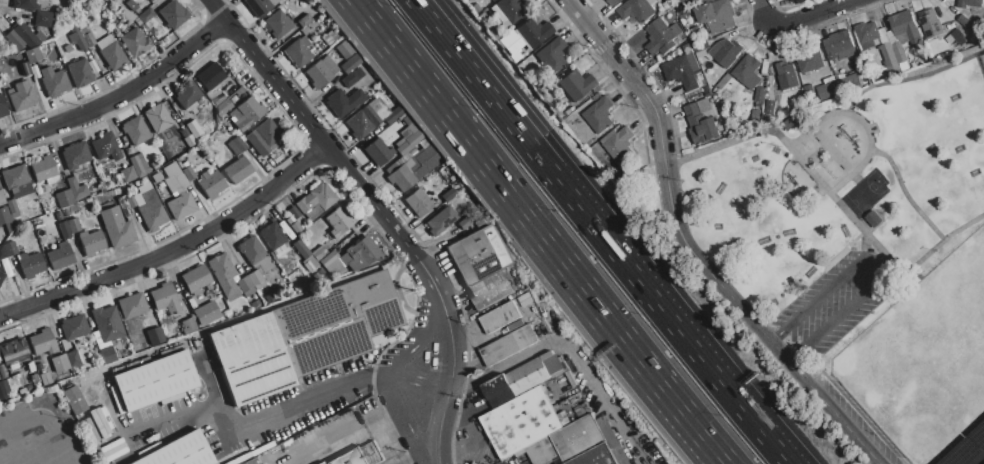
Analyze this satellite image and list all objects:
building: (149, 0)
building: (151, 0)
building: (697, 0)
building: (651, 1)
building: (272, 2)
building: (612, 2)
building: (968, 3)
building: (26, 4)
building: (129, 4)
building: (257, 6)
building: (143, 7)
building: (475, 9)
building: (636, 9)
building: (507, 11)
road: (766, 12)
road: (807, 12)
building: (685, 14)
building: (126, 15)
building: (173, 15)
building: (716, 15)
building: (146, 16)
building: (481, 16)
building: (43, 19)
building: (304, 21)
road: (588, 22)
building: (930, 23)
building: (966, 23)
building: (278, 25)
building: (695, 28)
building: (142, 29)
building: (675, 29)
building: (86, 33)
building: (532, 33)
building: (25, 35)
building: (659, 36)
building: (329, 37)
building: (904, 37)
building: (959, 37)
building: (14, 40)
building: (78, 40)
building: (135, 43)
building: (511, 44)
building: (700, 45)
building: (838, 45)
building: (686, 47)
building: (885, 48)
building: (343, 50)
building: (725, 51)
building: (299, 52)
building: (551, 55)
building: (33, 56)
building: (113, 56)
building: (692, 61)
building: (809, 61)
building: (350, 64)
building: (329, 66)
building: (24, 69)
building: (360, 71)
building: (680, 71)
building: (747, 71)
building: (34, 72)
building: (80, 74)
building: (786, 74)
building: (318, 75)
building: (210, 77)
building: (349, 79)
building: (54, 82)
building: (225, 82)
building: (849, 83)
building: (575, 85)
road: (505, 88)
building: (808, 88)
building: (827, 89)
road: (488, 93)
building: (759, 93)
building: (187, 96)
building: (215, 96)
building: (21, 97)
road: (120, 97)
building: (597, 97)
building: (343, 102)
building: (2, 107)
building: (222, 107)
building: (770, 107)
road: (823, 107)
building: (378, 109)
building: (248, 113)
building: (756, 113)
building: (181, 114)
building: (235, 114)
building: (598, 114)
building: (369, 116)
building: (157, 118)
building: (391, 118)
building: (405, 122)
building: (787, 123)
building: (700, 124)
building: (358, 125)
building: (230, 128)
building: (135, 130)
building: (194, 130)
building: (184, 133)
building: (267, 134)
building: (407, 139)
building: (190, 141)
building: (618, 142)
building: (257, 144)
building: (239, 145)
building: (105, 147)
building: (286, 151)
building: (378, 152)
building: (411, 152)
building: (75, 154)
building: (426, 159)
building: (139, 166)
building: (392, 168)
building: (413, 168)
building: (43, 169)
building: (238, 170)
building: (129, 174)
building: (162, 174)
building: (176, 174)
building: (189, 174)
building: (14, 177)
building: (156, 178)
building: (401, 178)
building: (172, 184)
building: (212, 184)
building: (144, 188)
building: (76, 189)
building: (21, 190)
building: (447, 195)
building: (64, 198)
building: (318, 198)
building: (2, 199)
building: (138, 200)
building: (131, 202)
building: (148, 202)
building: (418, 202)
building: (124, 206)
building: (11, 207)
building: (181, 207)
road: (380, 213)
building: (154, 218)
building: (873, 218)
building: (440, 219)
building: (6, 220)
building: (290, 221)
building: (338, 222)
building: (465, 222)
building: (73, 226)
building: (116, 227)
road: (673, 227)
building: (295, 228)
building: (286, 231)
road: (610, 231)
building: (65, 232)
road: (541, 232)
building: (272, 236)
road: (604, 236)
building: (91, 243)
park: (868, 247)
building: (9, 249)
building: (301, 249)
building: (251, 250)
building: (366, 250)
road: (173, 251)
building: (279, 251)
building: (2, 252)
building: (318, 253)
building: (477, 255)
building: (60, 256)
building: (353, 259)
building: (329, 262)
building: (31, 264)
building: (263, 264)
building: (308, 267)
road: (868, 267)
building: (338, 269)
building: (222, 271)
building: (320, 271)
building: (1, 274)
building: (316, 276)
building: (196, 279)
building: (256, 280)
building: (245, 284)
road: (424, 286)
building: (490, 289)
building: (230, 291)
building: (165, 298)
building: (269, 298)
building: (518, 303)
building: (256, 304)
building: (132, 306)
building: (206, 313)
building: (500, 317)
building: (336, 323)
building: (107, 324)
building: (188, 326)
building: (74, 327)
building: (526, 335)
building: (155, 337)
building: (378, 339)
building: (100, 341)
building: (42, 342)
road: (412, 344)
building: (501, 349)
road: (570, 349)
building: (13, 352)
building: (107, 355)
building: (251, 358)
building: (73, 359)
building: (60, 364)
building: (30, 366)
road: (376, 376)
building: (528, 376)
road: (715, 376)
building: (35, 378)
building: (18, 379)
building: (45, 379)
building: (154, 382)
road: (417, 383)
building: (7, 386)
building: (496, 386)
building: (2, 390)
building: (22, 391)
building: (74, 400)
road: (293, 404)
road: (216, 418)
road: (44, 419)
road: (166, 420)
road: (404, 421)
building: (99, 422)
building: (521, 422)
road: (842, 422)
building: (578, 437)
road: (342, 438)
building: (92, 443)
road: (17, 445)
building: (542, 451)
building: (180, 452)
building: (371, 453)
building: (596, 456)
building: (350, 457)
road: (976, 457)
building: (253, 462)
building: (322, 463)

